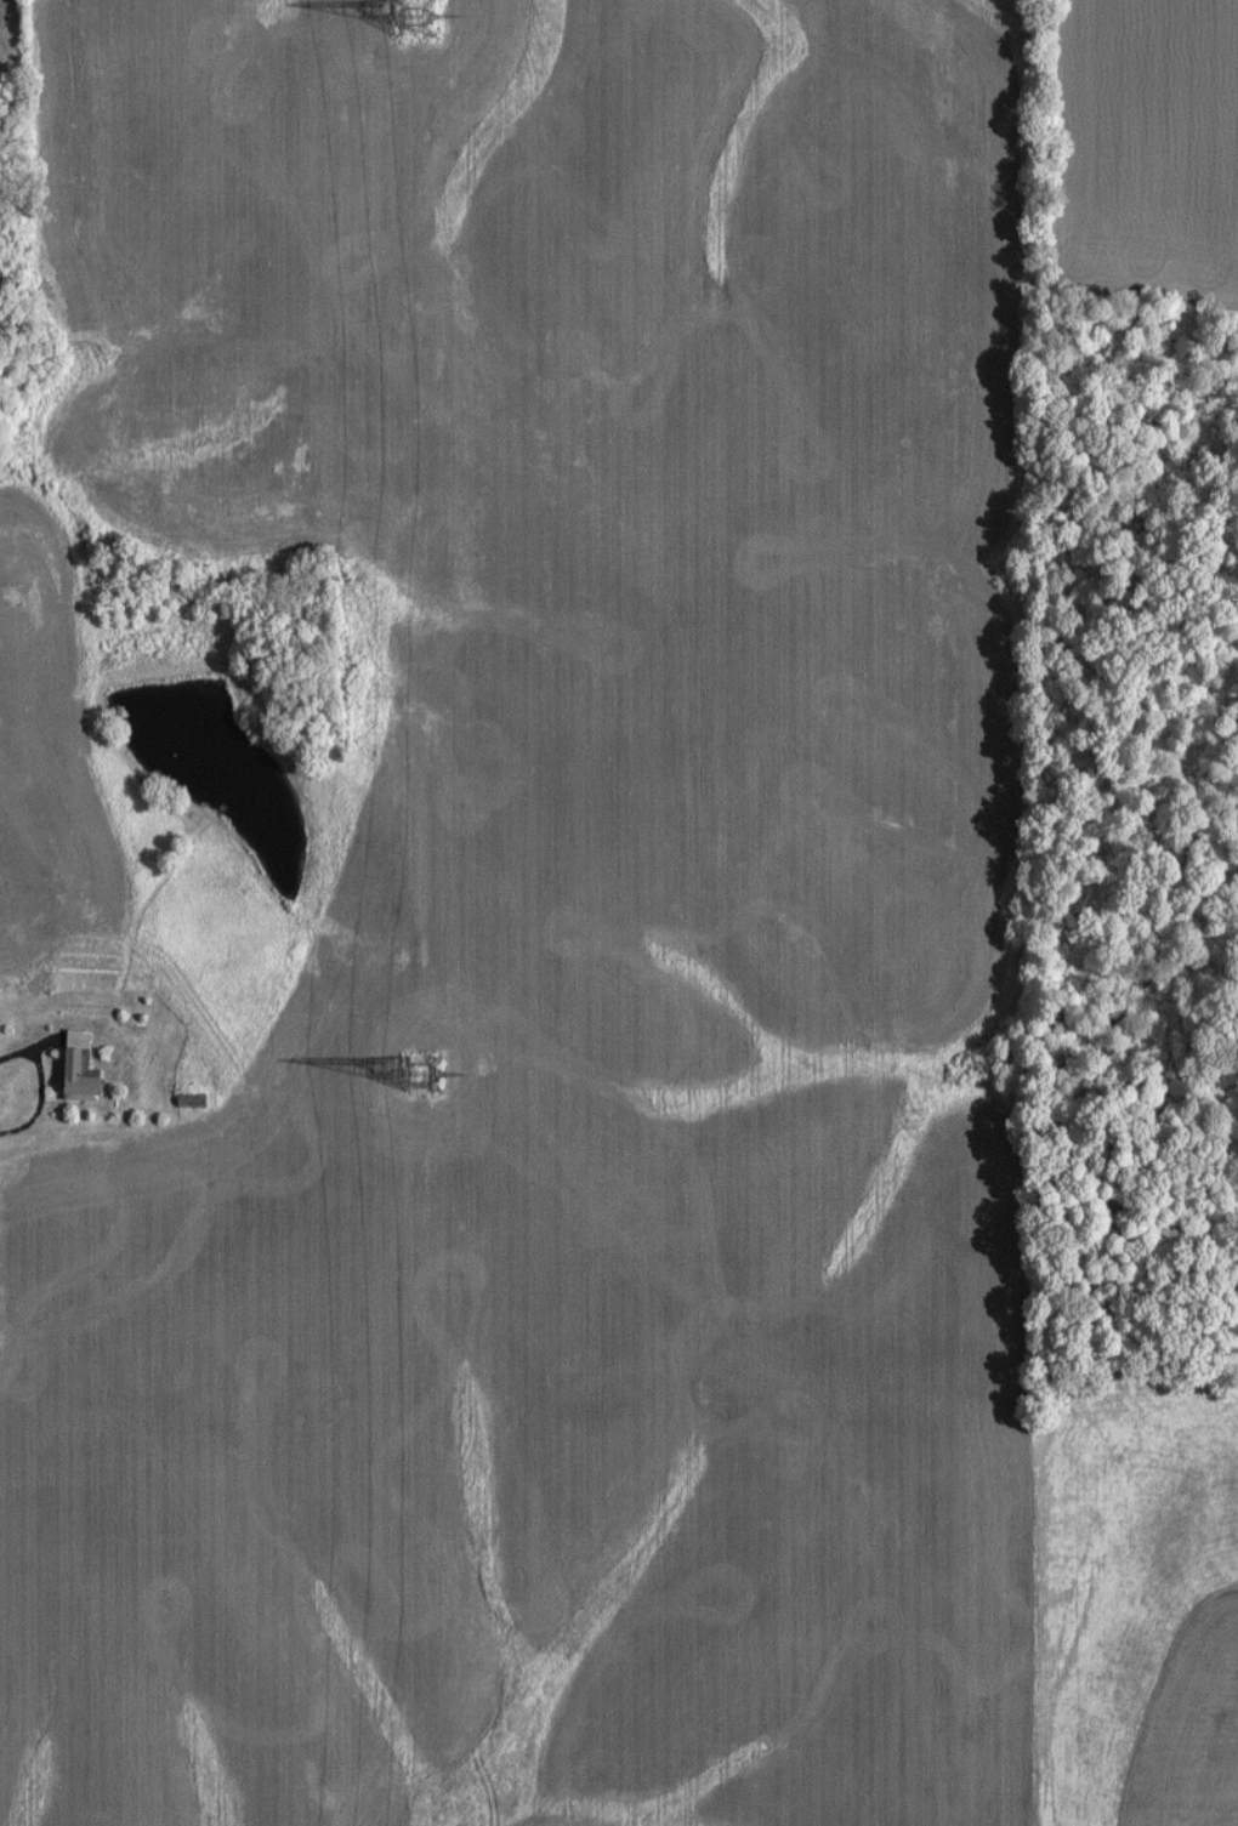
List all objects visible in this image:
power tower: (403, 13)
building: (76, 1066)
power tower: (419, 1068)
road: (32, 1107)

